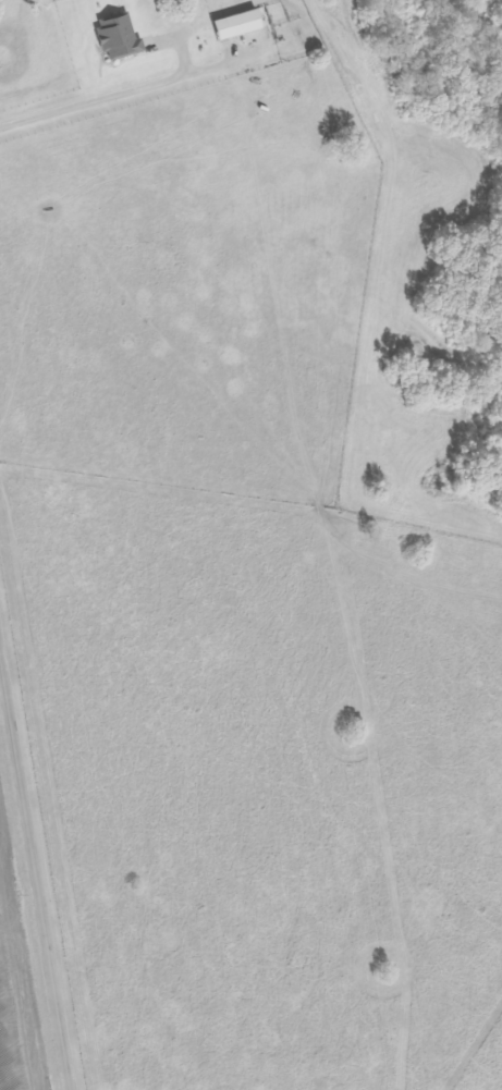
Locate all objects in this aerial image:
building: (238, 25)
building: (119, 36)
road: (36, 865)

